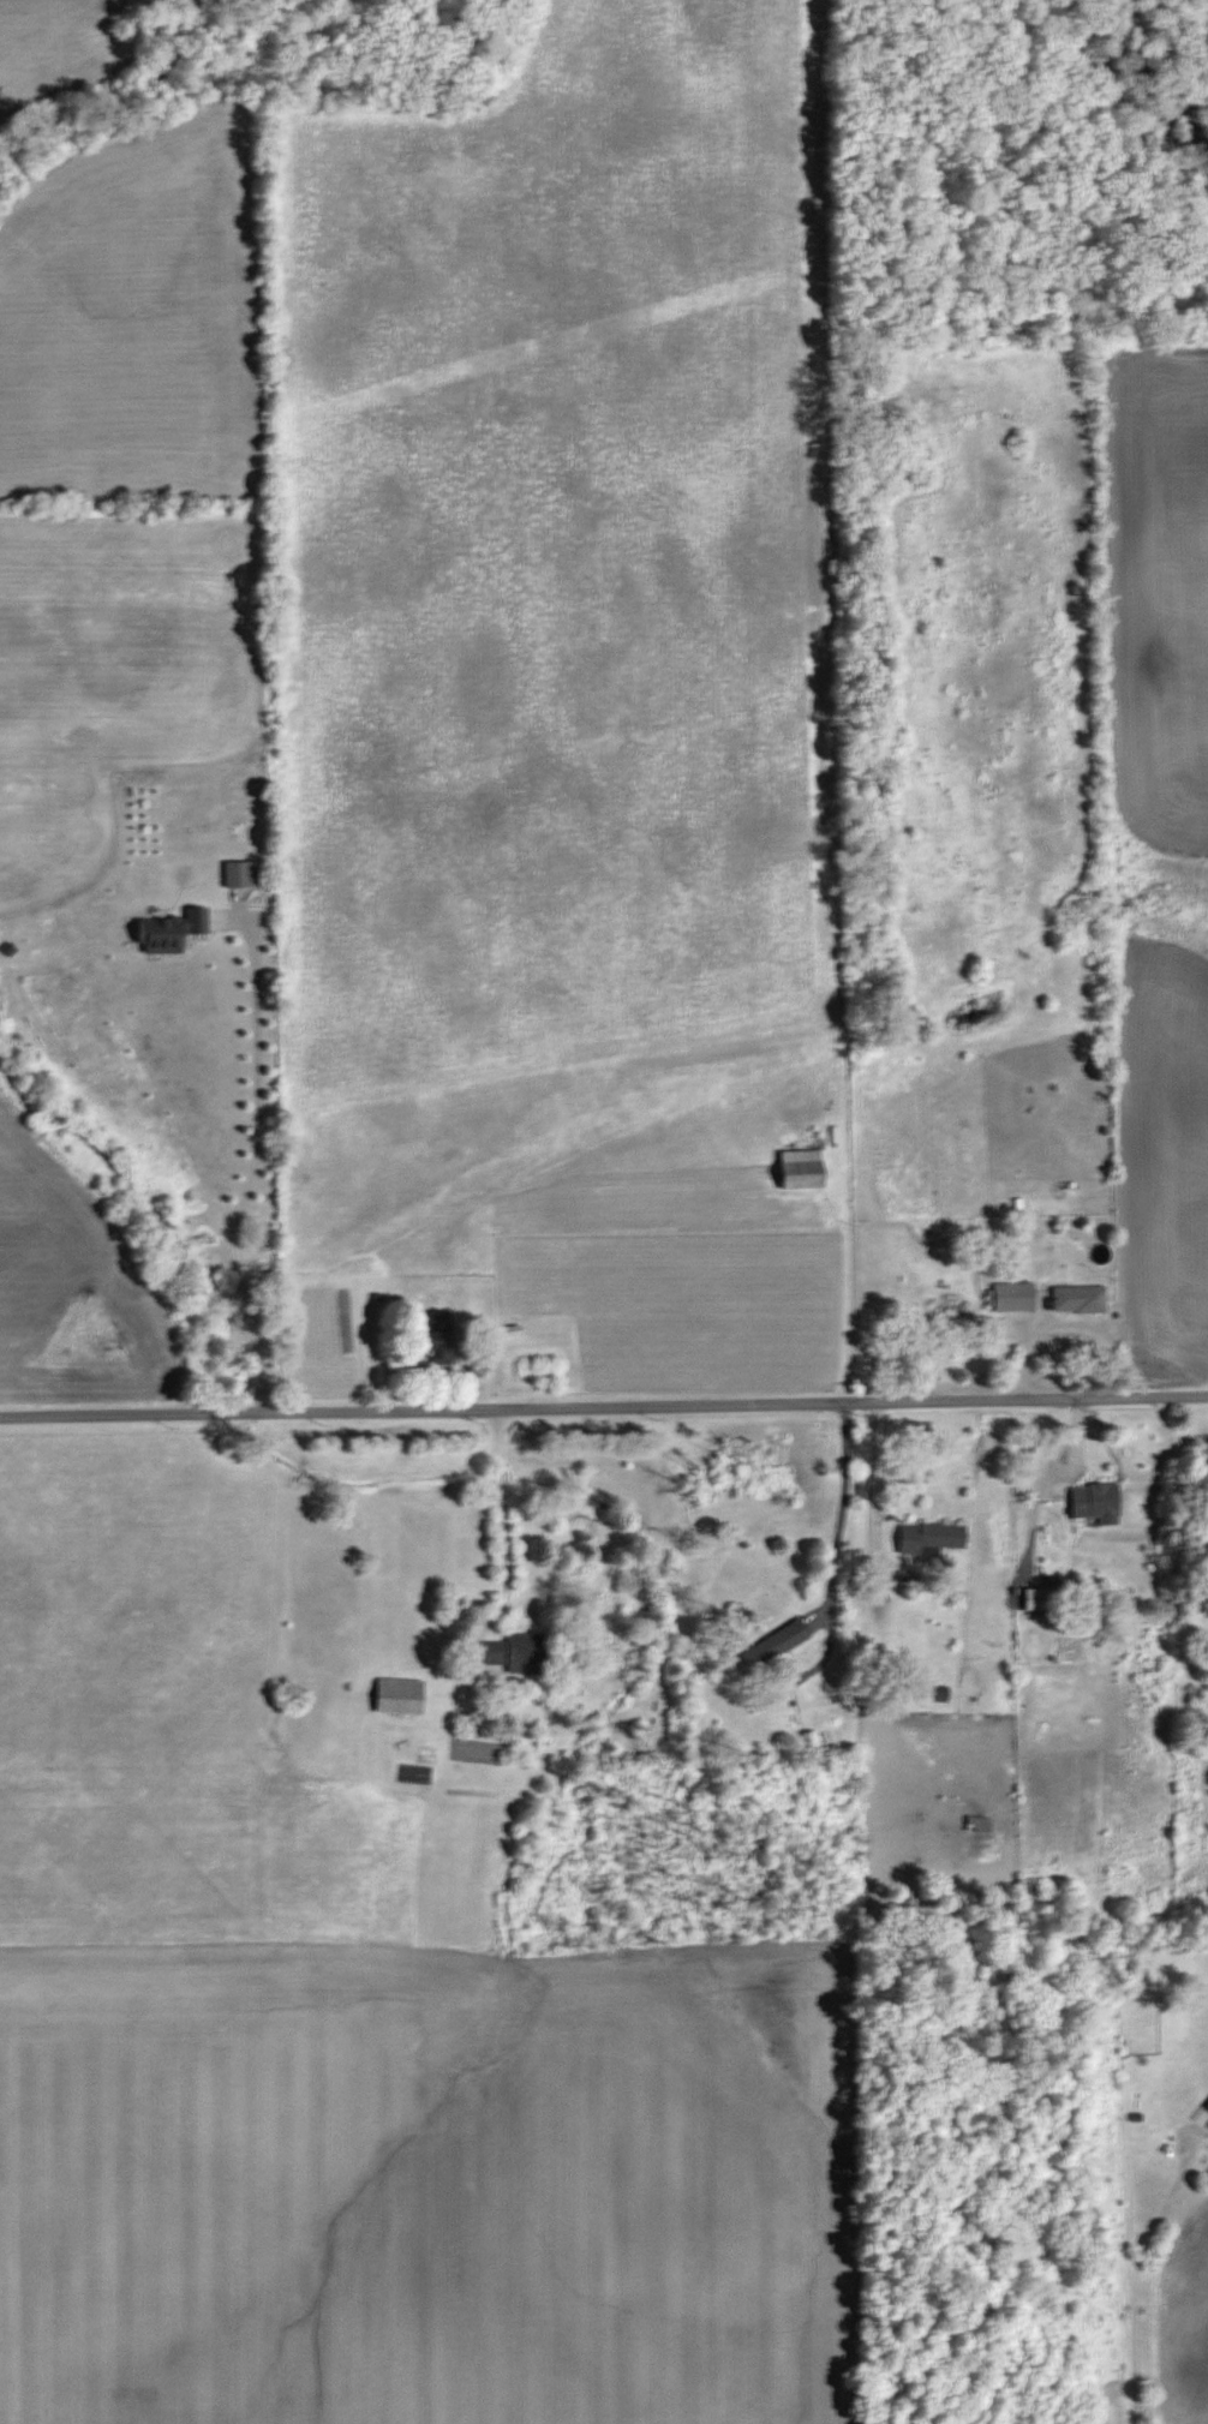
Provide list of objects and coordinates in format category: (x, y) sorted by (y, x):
building: (237, 873)
building: (173, 930)
road: (252, 1167)
building: (801, 1168)
building: (1013, 1297)
building: (1080, 1299)
building: (512, 1331)
building: (439, 1339)
road: (604, 1403)
road: (871, 1498)
building: (1096, 1502)
road: (503, 1533)
building: (931, 1538)
road: (836, 1543)
building: (1206, 1561)
building: (1037, 1599)
building: (772, 1645)
building: (518, 1653)
building: (400, 1696)
building: (979, 1825)
building: (1207, 2107)
road: (1135, 2280)

